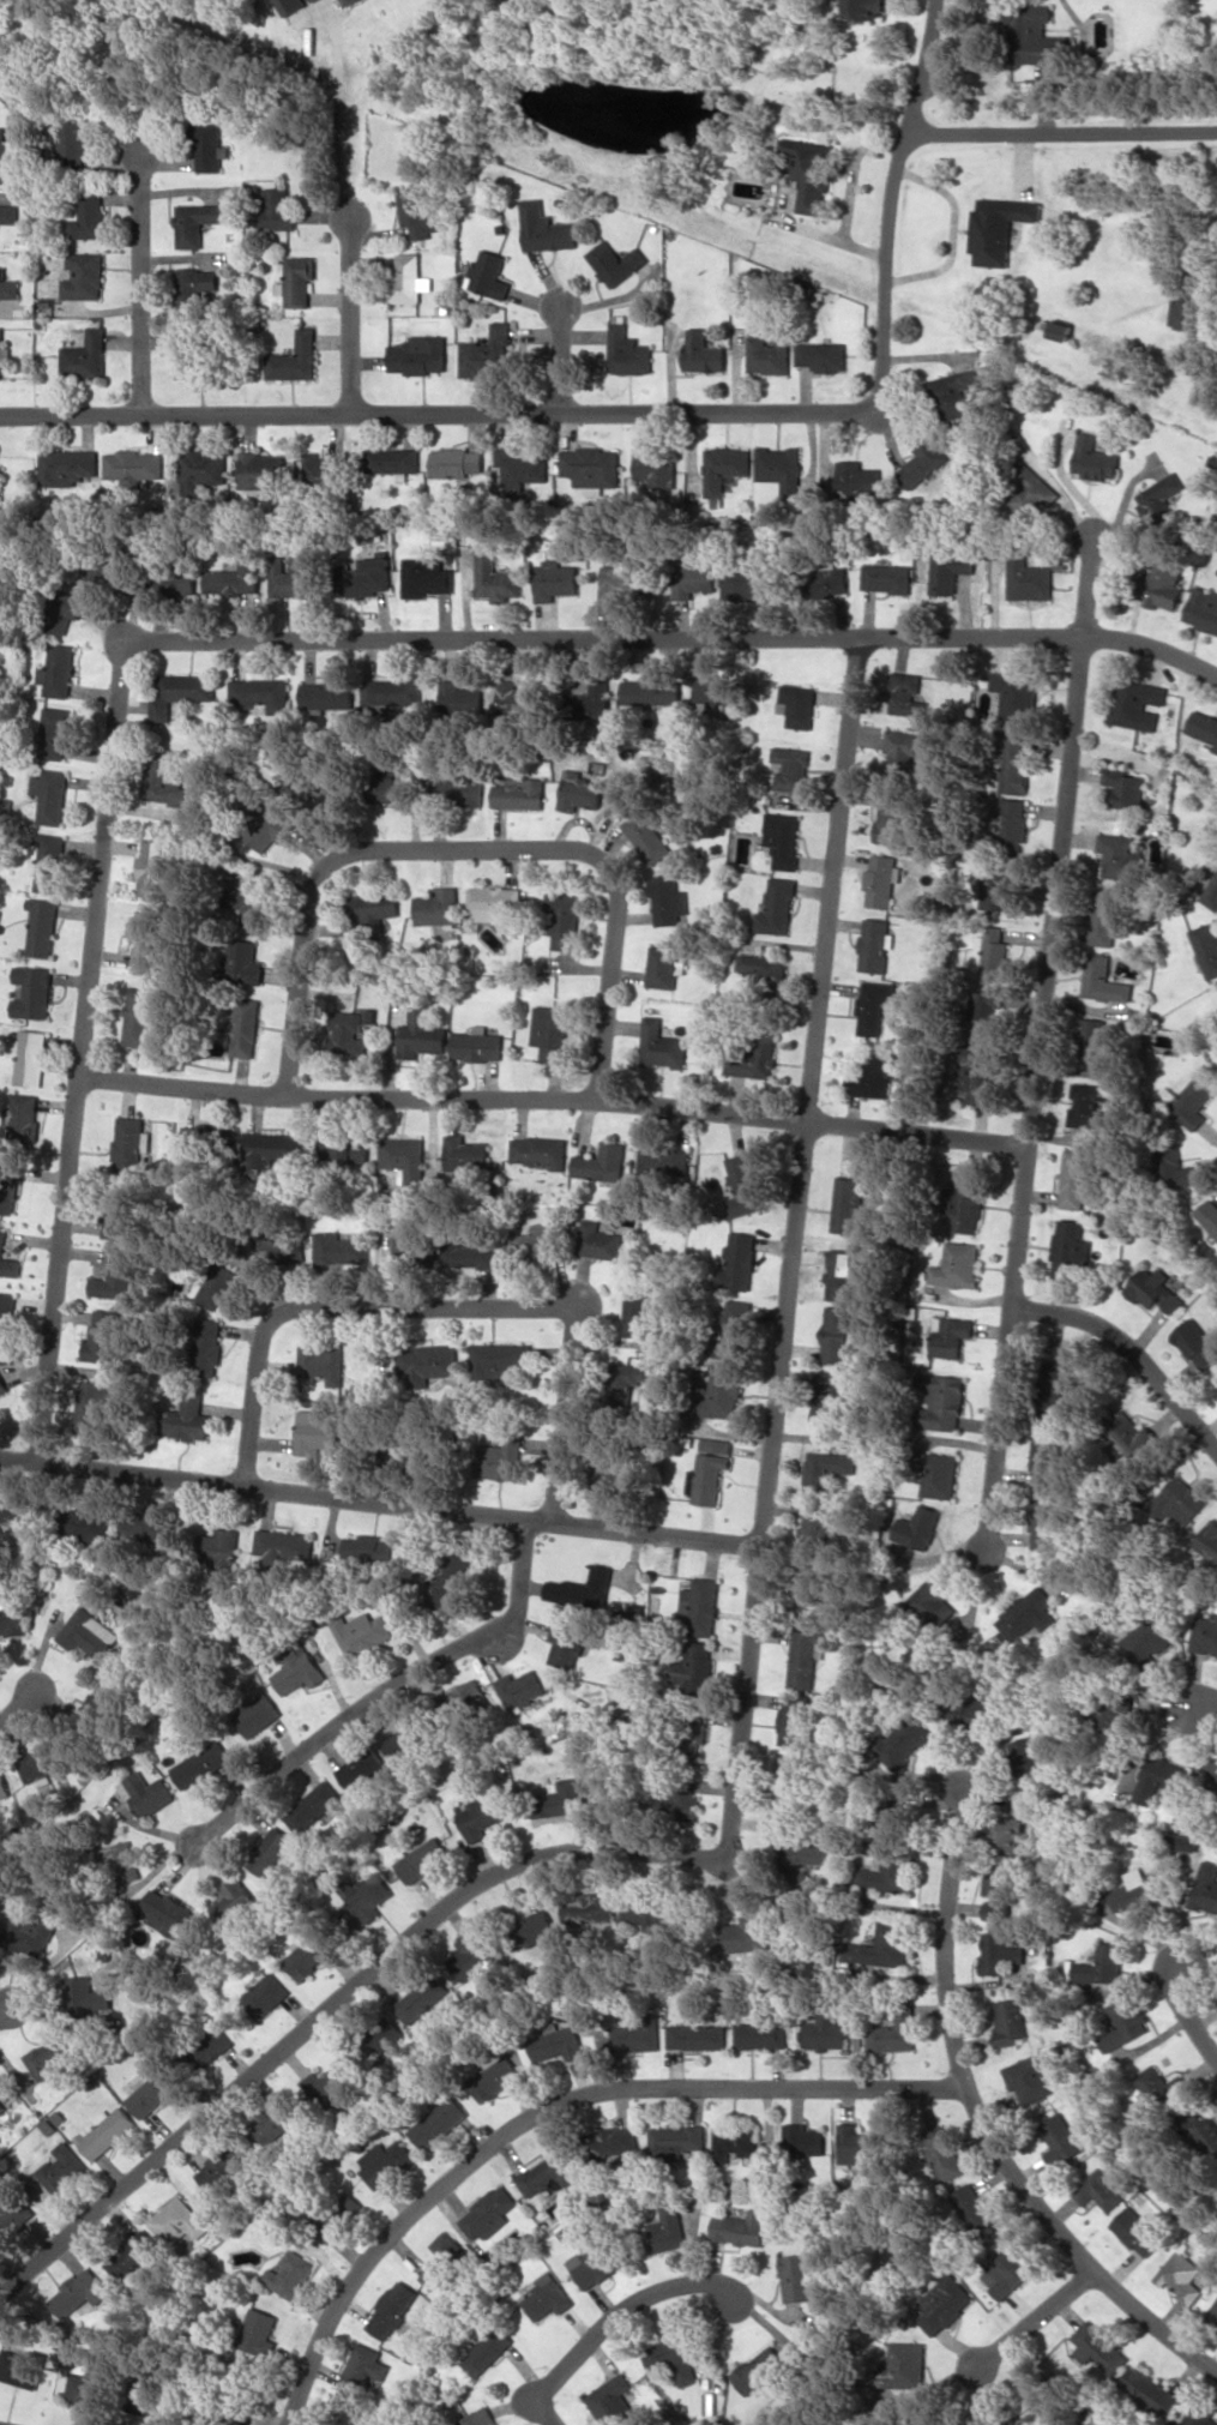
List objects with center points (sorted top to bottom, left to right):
building: (314, 0)
building: (349, 1)
building: (290, 5)
building: (864, 8)
building: (1034, 34)
road: (1061, 132)
building: (74, 145)
building: (7, 158)
building: (809, 173)
road: (890, 199)
building: (278, 209)
building: (416, 210)
building: (8, 213)
building: (88, 213)
building: (197, 222)
building: (998, 227)
building: (548, 233)
building: (615, 261)
building: (487, 275)
building: (84, 276)
building: (297, 279)
building: (408, 279)
road: (140, 283)
building: (199, 285)
building: (7, 287)
road: (351, 312)
building: (1183, 312)
building: (1060, 330)
building: (627, 349)
building: (487, 351)
building: (701, 351)
building: (1, 353)
building: (187, 353)
building: (418, 354)
building: (767, 354)
building: (821, 355)
building: (86, 356)
building: (296, 359)
road: (561, 360)
building: (1198, 363)
building: (954, 392)
road: (436, 410)
building: (1095, 458)
building: (392, 459)
building: (458, 462)
building: (923, 463)
building: (134, 465)
building: (592, 465)
building: (70, 467)
building: (204, 467)
building: (779, 467)
building: (523, 468)
building: (655, 468)
building: (724, 468)
building: (263, 469)
building: (323, 470)
building: (857, 479)
building: (1, 485)
building: (1030, 488)
building: (1159, 498)
building: (950, 571)
building: (100, 572)
building: (1028, 574)
building: (302, 576)
building: (365, 577)
building: (426, 577)
building: (495, 577)
building: (886, 577)
building: (694, 578)
building: (175, 579)
building: (236, 579)
building: (554, 579)
building: (616, 580)
building: (819, 582)
building: (747, 584)
building: (1161, 585)
building: (1203, 608)
building: (66, 610)
building: (1, 634)
road: (1040, 637)
building: (59, 670)
building: (650, 691)
building: (181, 692)
building: (391, 692)
building: (259, 693)
building: (326, 693)
building: (715, 693)
building: (905, 694)
building: (1016, 694)
building: (516, 696)
building: (459, 697)
building: (590, 700)
building: (1135, 703)
building: (797, 705)
building: (1204, 727)
building: (54, 733)
building: (904, 744)
building: (1014, 765)
building: (791, 768)
building: (386, 778)
building: (165, 781)
building: (1123, 788)
building: (462, 789)
building: (520, 793)
building: (580, 794)
building: (50, 795)
building: (891, 818)
building: (1012, 823)
building: (271, 829)
building: (646, 837)
building: (783, 840)
road: (466, 847)
building: (1117, 855)
building: (48, 861)
building: (880, 880)
building: (996, 886)
building: (1211, 893)
building: (669, 899)
building: (496, 902)
building: (252, 905)
building: (777, 907)
building: (374, 909)
building: (435, 909)
road: (830, 913)
building: (1105, 917)
building: (562, 919)
building: (42, 926)
building: (146, 941)
building: (876, 944)
building: (1206, 946)
building: (995, 953)
building: (246, 963)
building: (761, 965)
building: (664, 967)
building: (1104, 980)
building: (32, 992)
building: (874, 1005)
building: (987, 1010)
building: (139, 1016)
building: (246, 1027)
building: (348, 1031)
building: (550, 1031)
building: (420, 1034)
building: (1095, 1040)
building: (477, 1045)
building: (662, 1045)
road: (1040, 1046)
building: (29, 1057)
building: (753, 1058)
building: (978, 1072)
building: (875, 1076)
road: (554, 1099)
building: (1191, 1101)
building: (1086, 1103)
building: (23, 1121)
building: (210, 1142)
building: (129, 1144)
building: (275, 1147)
building: (345, 1149)
building: (540, 1150)
building: (466, 1153)
building: (404, 1157)
building: (665, 1160)
building: (601, 1162)
building: (1176, 1166)
building: (1077, 1179)
building: (8, 1186)
building: (743, 1186)
building: (968, 1202)
building: (848, 1207)
building: (1209, 1214)
building: (114, 1220)
building: (598, 1240)
building: (540, 1244)
building: (282, 1247)
building: (1071, 1247)
building: (339, 1250)
building: (476, 1254)
building: (7, 1259)
building: (739, 1262)
building: (958, 1265)
building: (842, 1276)
building: (116, 1278)
building: (218, 1286)
building: (1155, 1289)
road: (440, 1307)
building: (5, 1311)
building: (639, 1316)
building: (731, 1330)
building: (837, 1334)
building: (951, 1335)
building: (103, 1337)
building: (1197, 1342)
building: (209, 1347)
road: (1133, 1348)
building: (500, 1359)
building: (324, 1362)
building: (427, 1364)
building: (2, 1388)
building: (1058, 1391)
building: (721, 1395)
building: (827, 1397)
building: (942, 1403)
building: (92, 1406)
building: (187, 1419)
building: (1128, 1431)
building: (317, 1432)
building: (502, 1458)
building: (1046, 1460)
building: (826, 1468)
building: (711, 1470)
building: (610, 1473)
building: (936, 1473)
road: (379, 1502)
building: (1176, 1502)
building: (16, 1514)
building: (84, 1523)
building: (1043, 1523)
building: (149, 1527)
building: (918, 1527)
building: (818, 1530)
building: (1209, 1540)
building: (284, 1546)
building: (221, 1547)
building: (375, 1550)
building: (450, 1581)
building: (95, 1588)
building: (579, 1590)
building: (809, 1596)
building: (932, 1601)
building: (700, 1607)
building: (1028, 1614)
building: (13, 1621)
building: (90, 1633)
building: (365, 1633)
building: (1205, 1633)
building: (566, 1645)
building: (1149, 1648)
building: (803, 1657)
building: (694, 1668)
building: (297, 1669)
building: (522, 1687)
road: (385, 1690)
building: (469, 1698)
road: (17, 1705)
road: (1203, 1705)
building: (1111, 1710)
building: (257, 1714)
building: (977, 1714)
building: (795, 1719)
building: (689, 1728)
building: (406, 1740)
building: (903, 1741)
building: (1032, 1755)
building: (201, 1764)
building: (1211, 1768)
building: (363, 1771)
building: (1159, 1777)
building: (787, 1786)
building: (4, 1787)
building: (146, 1793)
building: (561, 1799)
building: (677, 1804)
building: (313, 1806)
building: (478, 1817)
building: (1188, 1824)
building: (1007, 1834)
building: (1187, 1842)
building: (270, 1852)
building: (423, 1859)
building: (121, 1860)
building: (803, 1864)
building: (890, 1872)
building: (1206, 1888)
building: (1000, 1889)
building: (1135, 1890)
building: (369, 1895)
building: (235, 1899)
building: (589, 1910)
building: (167, 1912)
building: (650, 1912)
building: (535, 1926)
building: (31, 1931)
building: (747, 1933)
building: (882, 1945)
building: (312, 1951)
building: (1002, 1952)
building: (474, 1956)
building: (1104, 1964)
building: (266, 1994)
building: (86, 1996)
building: (421, 1998)
road: (1187, 2009)
road: (5, 2010)
building: (1012, 2020)
building: (1126, 2022)
building: (894, 2028)
building: (825, 2032)
building: (638, 2033)
building: (760, 2035)
building: (697, 2036)
building: (373, 2040)
building: (558, 2042)
building: (215, 2045)
building: (50, 2057)
building: (495, 2077)
building: (1030, 2078)
building: (329, 2086)
building: (2, 2087)
building: (155, 2092)
road: (549, 2107)
road: (980, 2108)
building: (439, 2122)
building: (272, 2126)
building: (104, 2131)
building: (1207, 2132)
building: (803, 2138)
building: (616, 2140)
building: (676, 2140)
building: (1061, 2140)
building: (735, 2141)
building: (857, 2146)
building: (942, 2152)
building: (386, 2161)
building: (62, 2167)
building: (221, 2167)
building: (550, 2172)
building: (1101, 2188)
building: (972, 2208)
building: (489, 2213)
building: (11, 2216)
building: (339, 2218)
building: (177, 2220)
building: (742, 2227)
building: (668, 2228)
building: (1138, 2231)
building: (134, 2255)
building: (445, 2258)
building: (598, 2259)
building: (1006, 2269)
building: (291, 2274)
building: (801, 2275)
building: (1181, 2276)
building: (79, 2292)
building: (547, 2297)
building: (942, 2303)
building: (393, 2309)
building: (1212, 2316)
road: (1032, 2318)
road: (611, 2322)
building: (259, 2331)
building: (1098, 2347)
building: (487, 2351)
building: (674, 2359)
building: (903, 2365)
building: (22, 2367)
building: (761, 2370)
building: (365, 2371)
building: (92, 2385)
building: (149, 2388)
building: (1150, 2390)
building: (614, 2401)
building: (480, 2418)
building: (1037, 2418)
building: (1197, 2418)

